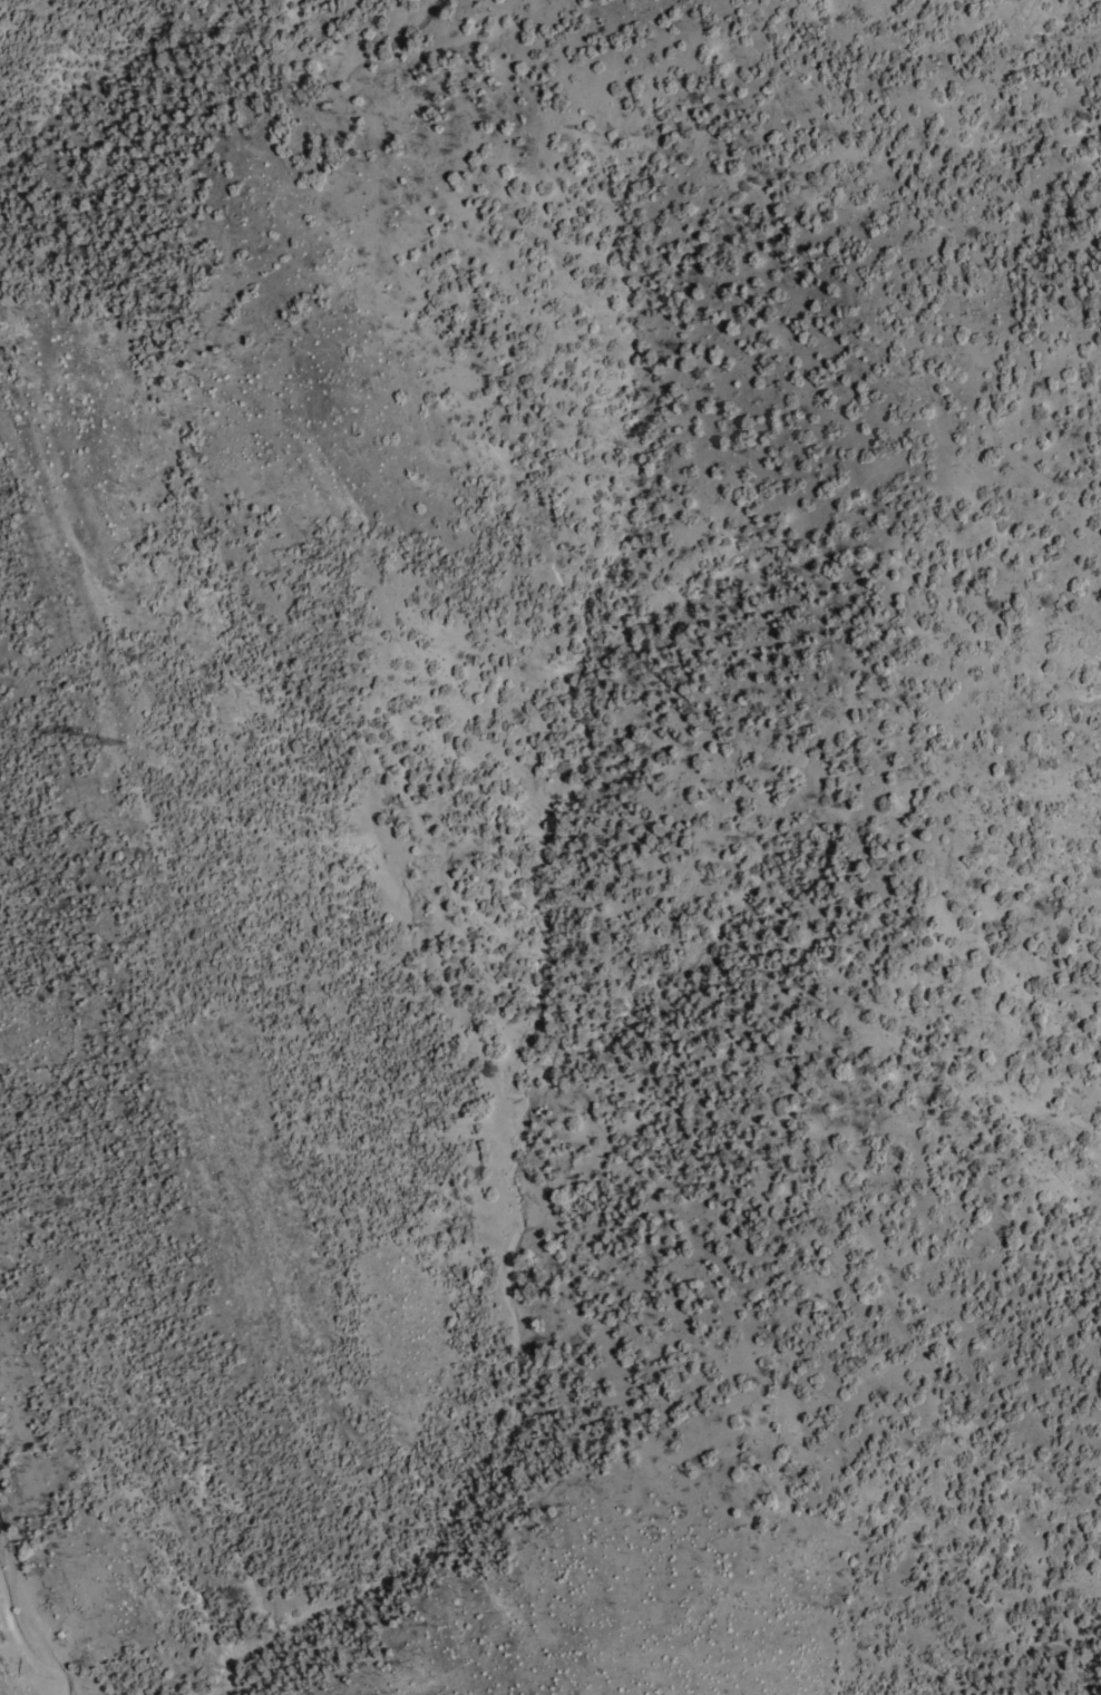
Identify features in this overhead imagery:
power tower: (120, 739)

